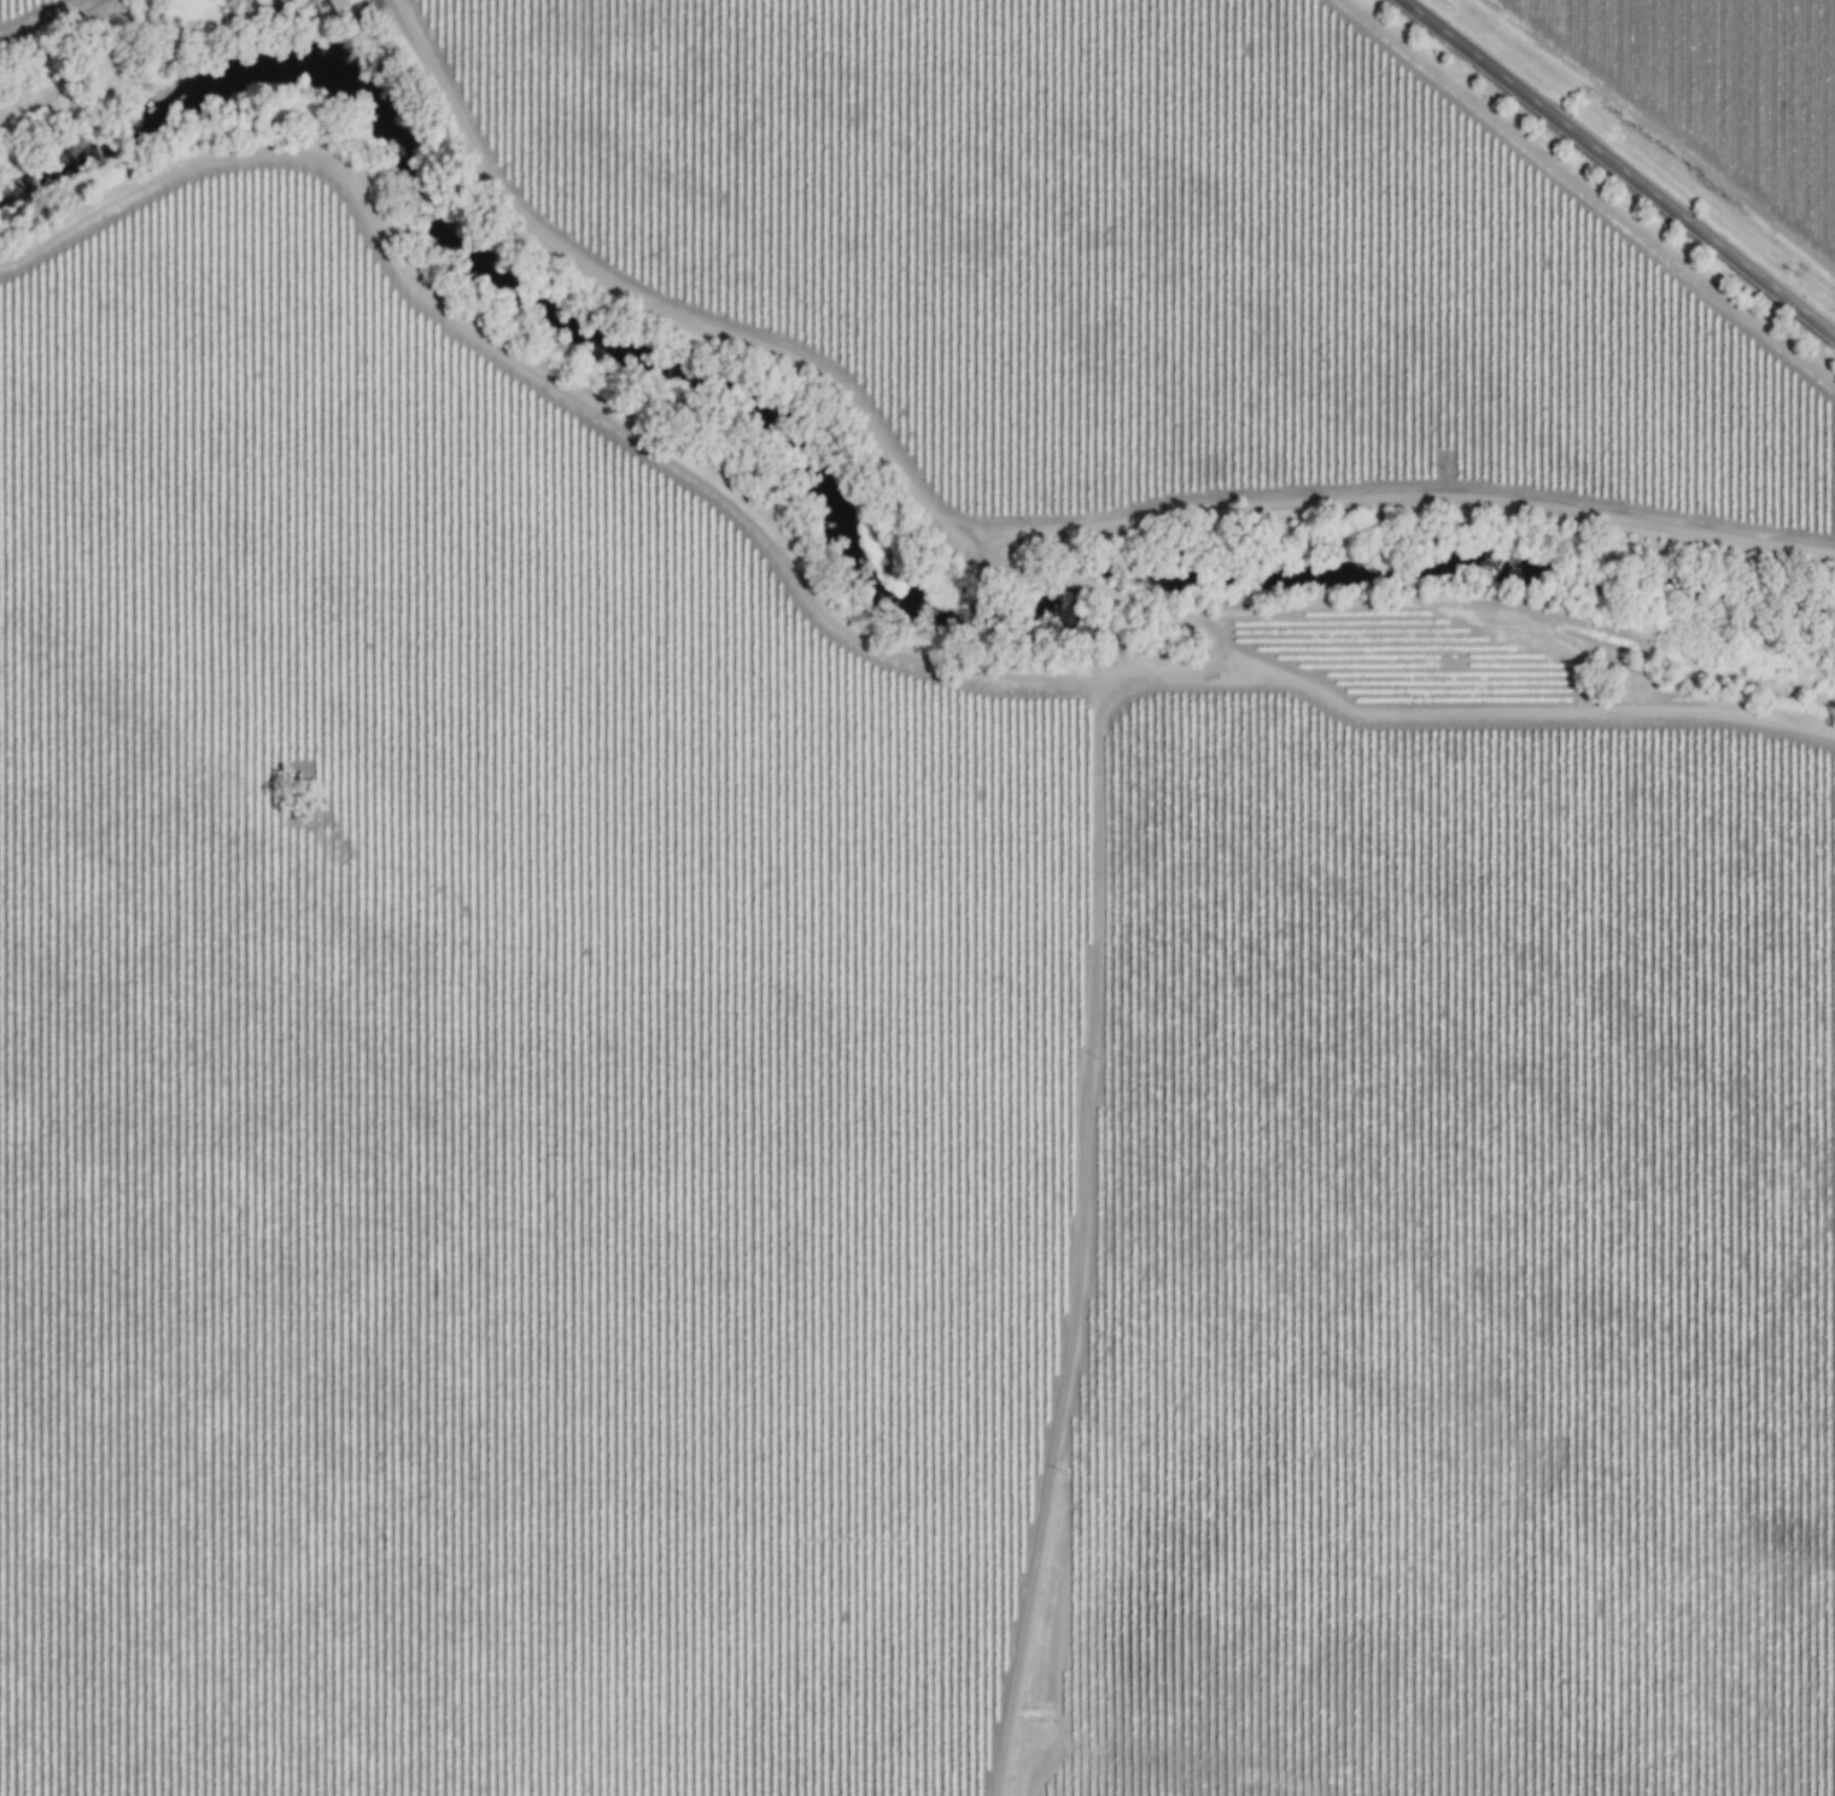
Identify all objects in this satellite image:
building: (140, 0)
building: (347, 4)
road: (1618, 168)
road: (993, 533)

